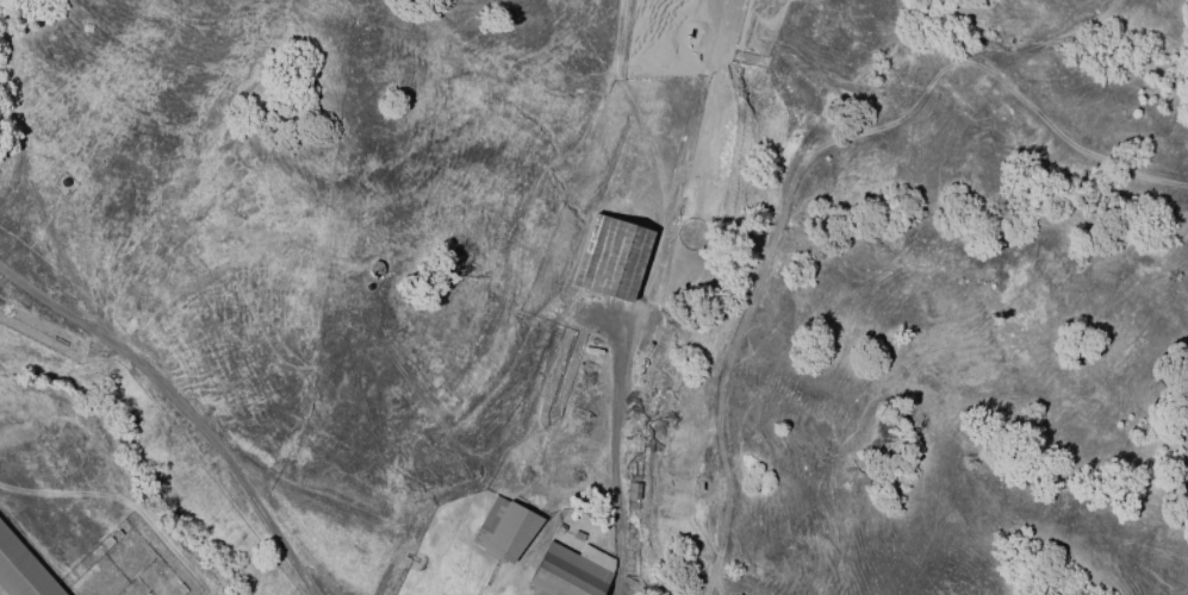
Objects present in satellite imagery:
crop: (736, 132)
building: (611, 256)
road: (615, 466)
building: (503, 528)
building: (21, 570)
building: (568, 571)

